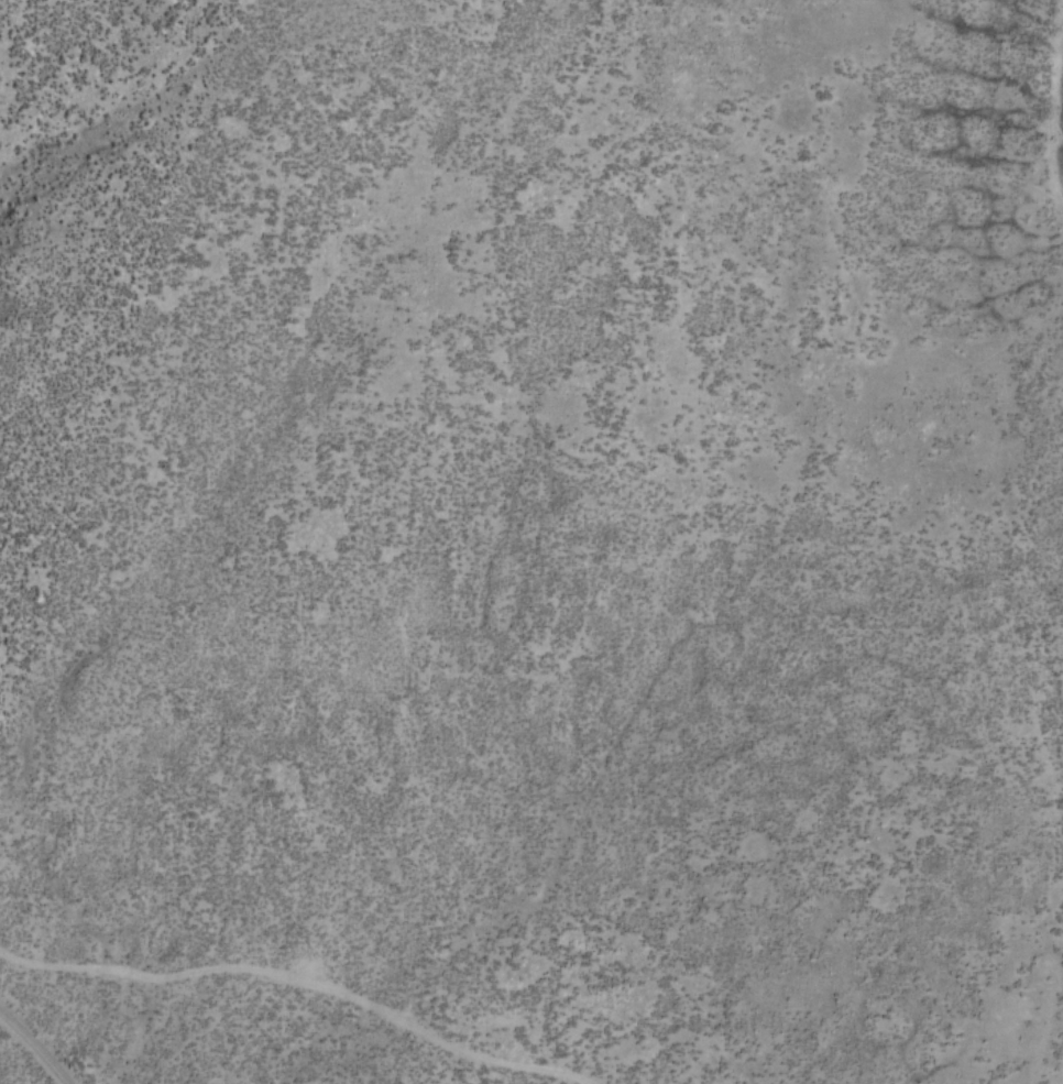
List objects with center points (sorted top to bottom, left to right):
road: (304, 981)
road: (36, 1044)

